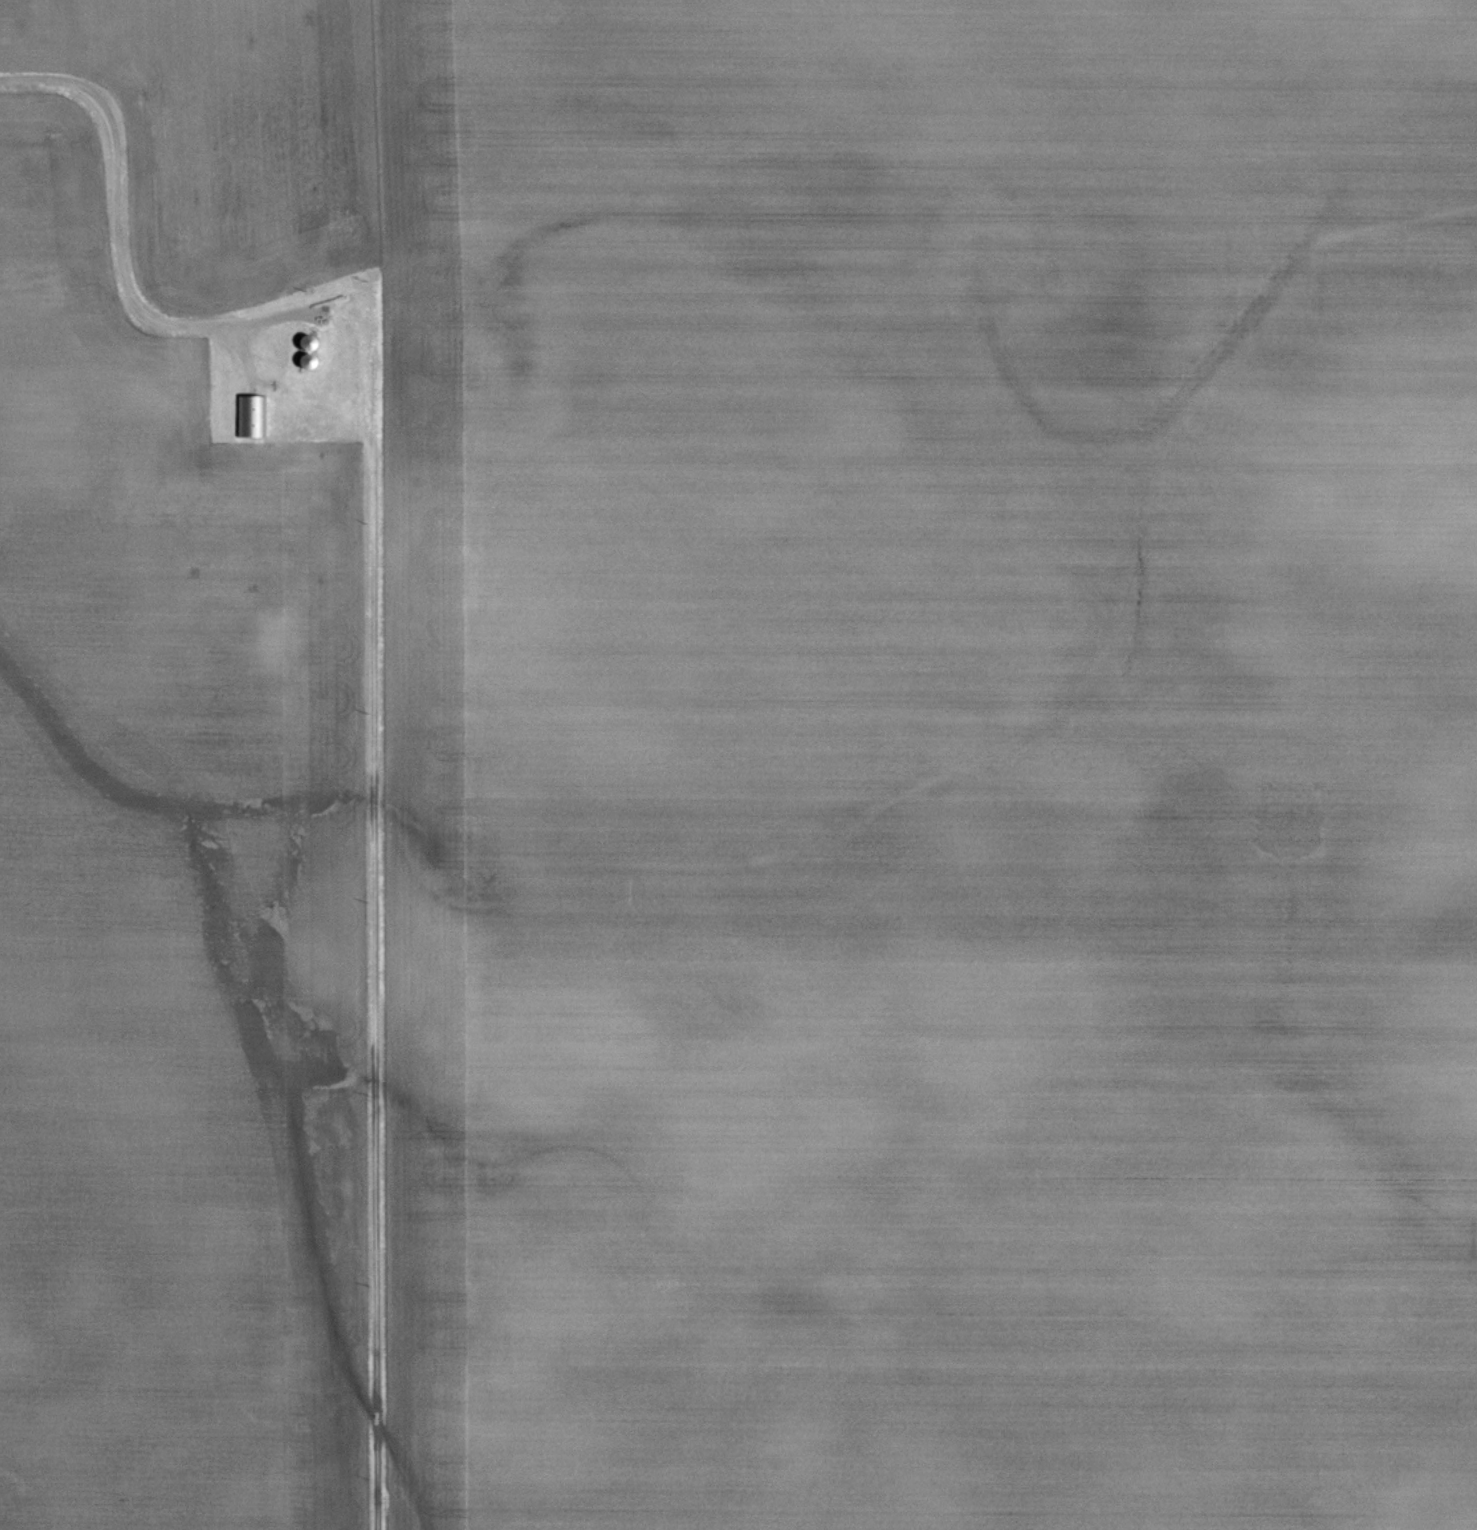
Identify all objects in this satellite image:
road: (117, 202)
road: (272, 318)
building: (308, 343)
silo: (308, 343)
building: (308, 362)
silo: (308, 362)
road: (248, 364)
road: (262, 382)
road: (330, 396)
building: (251, 415)
crop: (171, 913)
road: (376, 1002)

